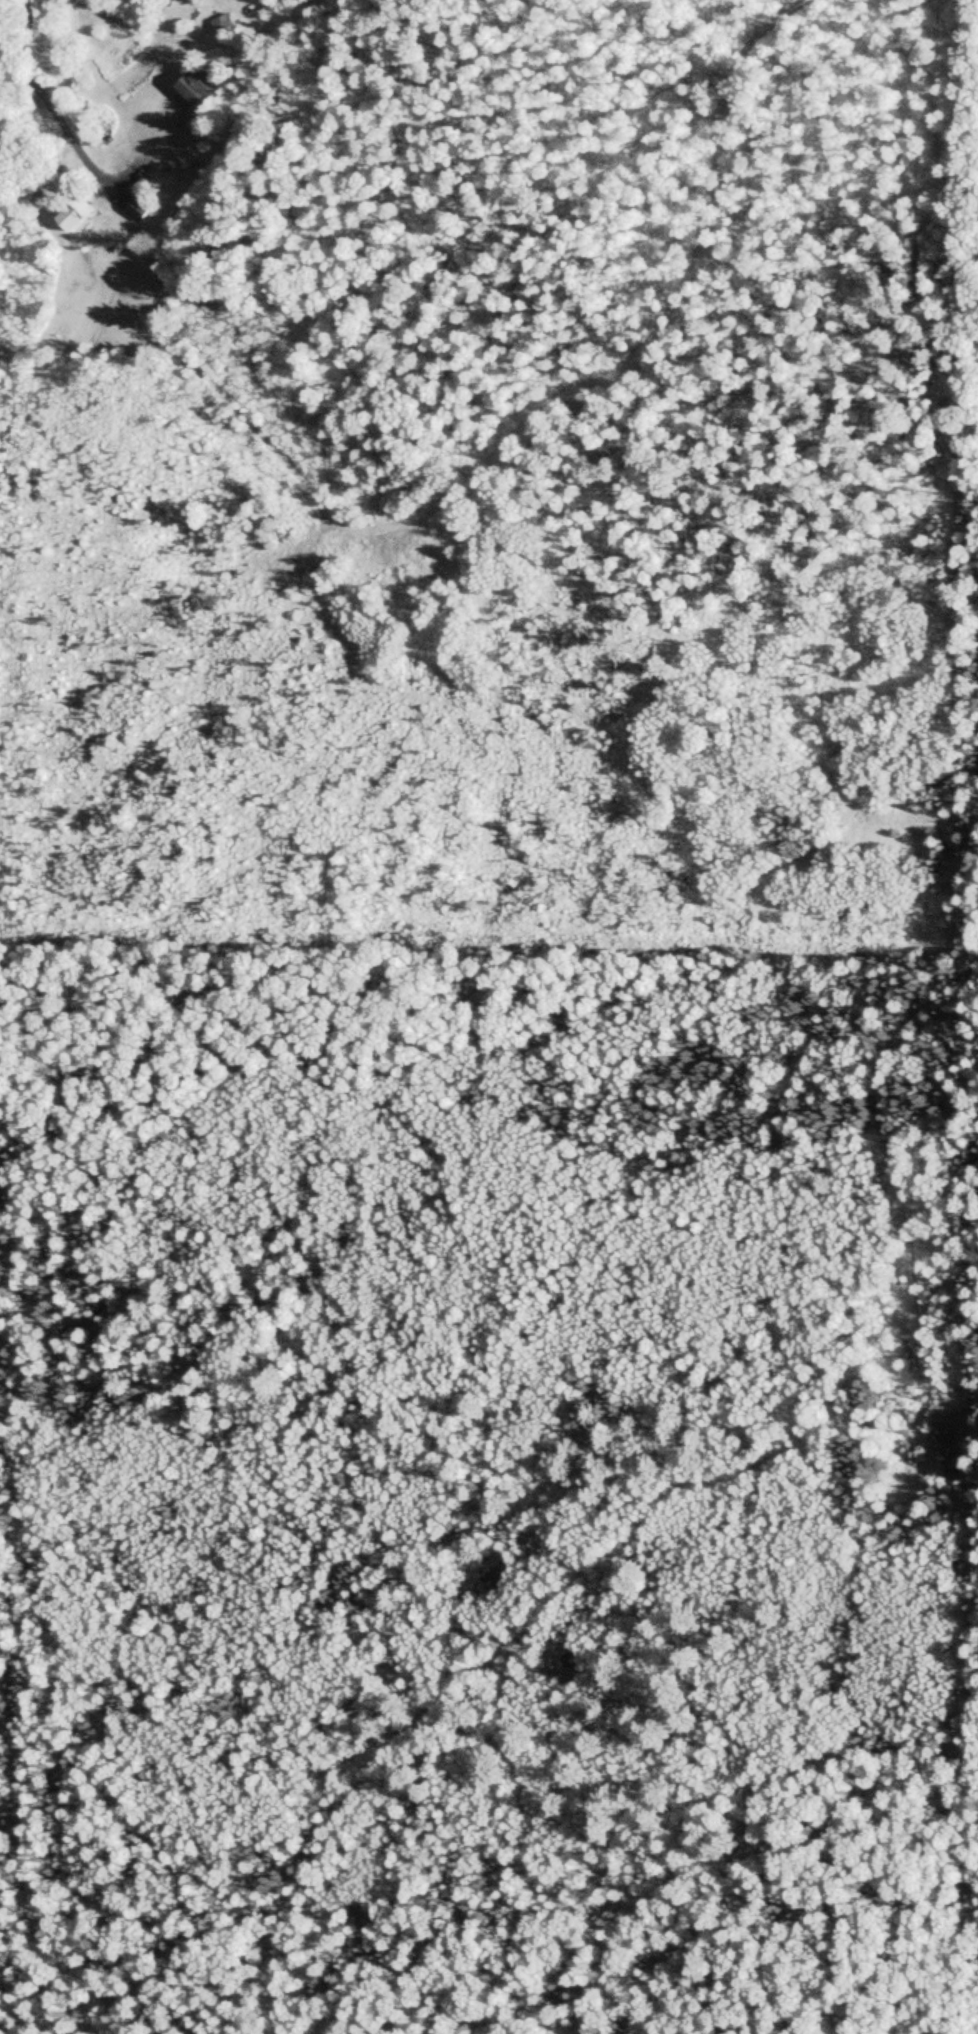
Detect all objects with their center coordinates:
building: (226, 24)
road: (67, 80)
building: (144, 209)

